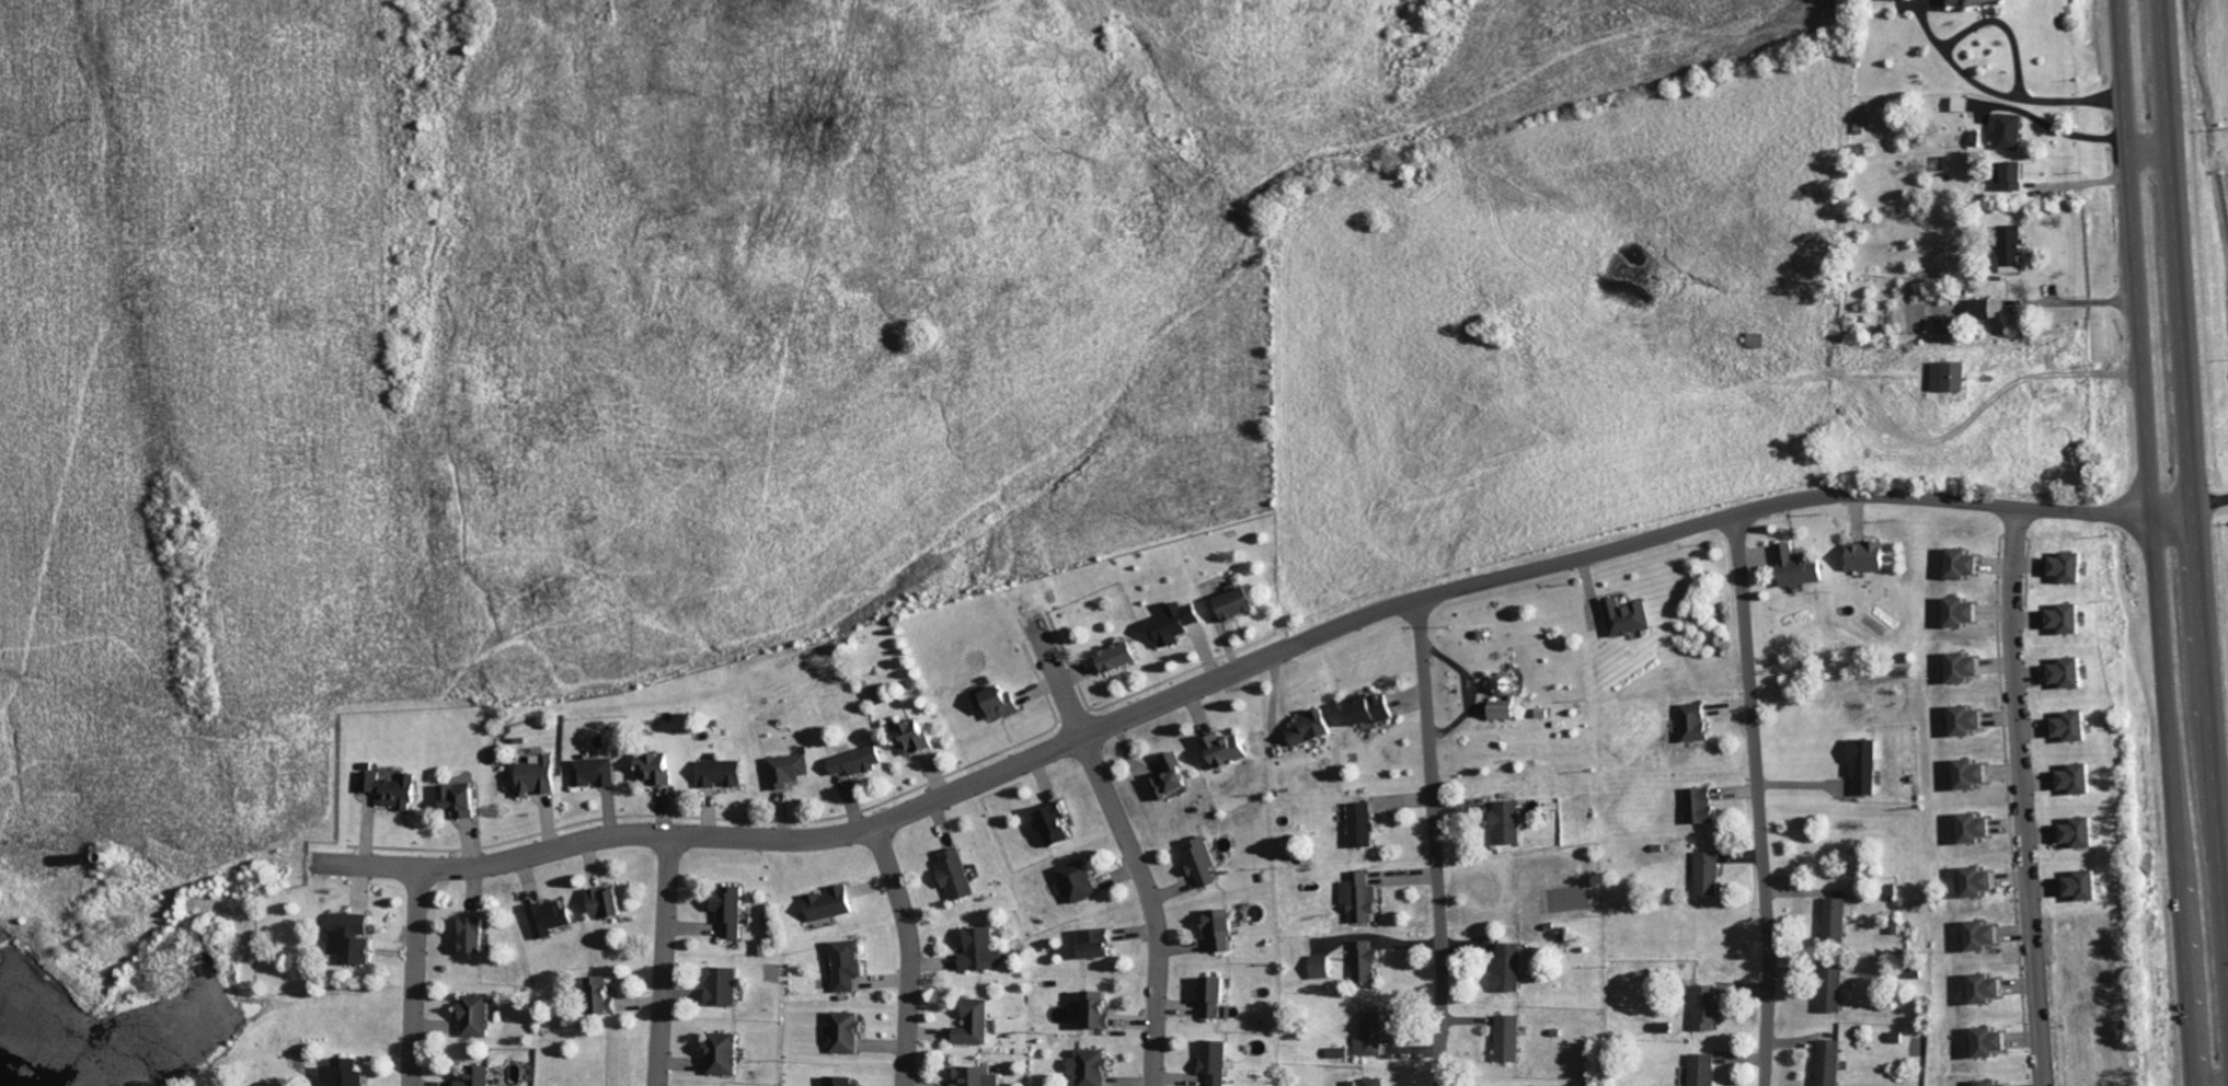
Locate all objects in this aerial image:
road: (2005, 25)
road: (1997, 92)
road: (2051, 126)
building: (2005, 131)
building: (2007, 176)
building: (2007, 249)
road: (2072, 301)
building: (1983, 309)
building: (1759, 339)
building: (1943, 377)
road: (2193, 502)
road: (2172, 513)
road: (2152, 543)
building: (1871, 555)
building: (1967, 562)
building: (2075, 565)
building: (1802, 566)
building: (1239, 603)
building: (1967, 611)
building: (1630, 616)
building: (2074, 616)
building: (1176, 623)
road: (1276, 652)
building: (1122, 656)
building: (1969, 666)
building: (2076, 671)
building: (1506, 684)
building: (999, 702)
building: (1375, 709)
building: (1507, 709)
building: (1973, 719)
building: (1698, 721)
building: (2079, 725)
building: (1314, 727)
building: (916, 737)
building: (1229, 750)
building: (859, 760)
building: (1865, 766)
building: (659, 767)
building: (791, 769)
building: (596, 772)
building: (725, 772)
building: (1974, 773)
building: (541, 775)
building: (1174, 776)
building: (2083, 777)
building: (394, 789)
road: (2022, 797)
building: (463, 798)
road: (1756, 799)
building: (1704, 805)
building: (1509, 822)
building: (1058, 824)
building: (1364, 824)
building: (1980, 827)
building: (2087, 831)
road: (1434, 841)
road: (1126, 843)
building: (1204, 860)
building: (1710, 873)
building: (958, 874)
building: (1081, 880)
building: (1984, 880)
building: (2089, 885)
building: (1363, 897)
building: (609, 902)
building: (834, 903)
building: (733, 909)
building: (551, 919)
building: (1837, 920)
building: (1222, 927)
building: (478, 934)
building: (1986, 935)
building: (355, 937)
building: (1100, 943)
building: (984, 949)
road: (909, 954)
road: (666, 960)
building: (1367, 961)
building: (851, 963)
building: (1324, 966)
building: (1514, 966)
road: (413, 978)
building: (726, 985)
building: (1992, 987)
building: (1836, 990)
building: (604, 994)
building: (1217, 995)
building: (1709, 1008)
building: (1100, 1009)
building: (478, 1015)
building: (978, 1023)
building: (849, 1031)
building: (1371, 1033)
building: (1511, 1038)
building: (1996, 1041)
building: (726, 1053)
building: (1218, 1061)
building: (1831, 1062)
building: (1094, 1066)
building: (1704, 1070)
building: (346, 1073)
building: (480, 1076)
building: (978, 1076)
building: (843, 1081)
building: (1375, 1082)
building: (1996, 1083)

